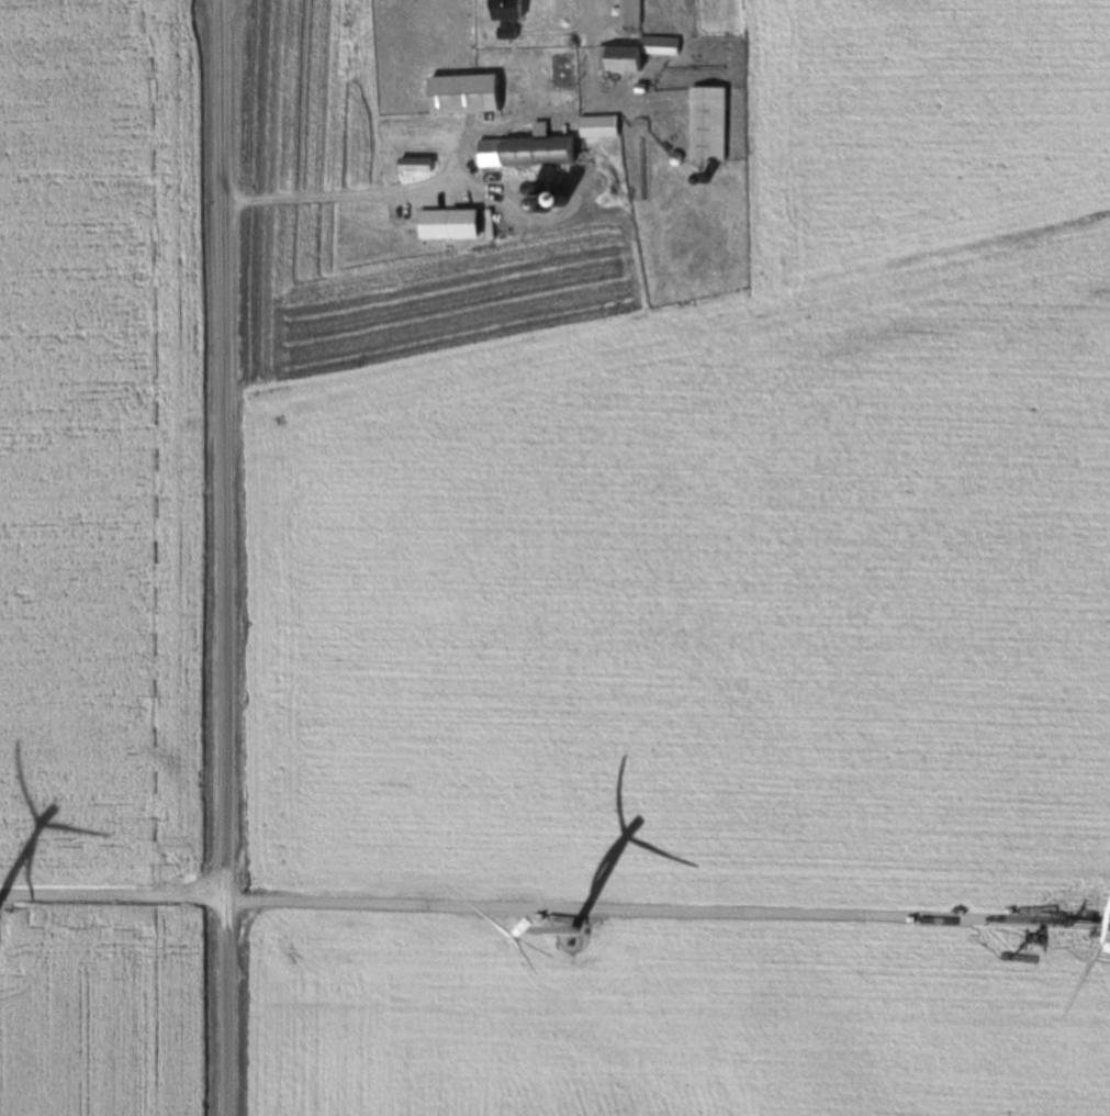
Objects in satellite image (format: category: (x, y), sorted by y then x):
building: (506, 10)
road: (593, 13)
building: (631, 14)
building: (637, 55)
building: (462, 96)
building: (708, 125)
building: (599, 127)
building: (527, 150)
road: (471, 156)
building: (415, 166)
road: (382, 196)
building: (543, 201)
building: (446, 225)
road: (227, 557)
road: (554, 916)
building: (1102, 917)
wind turbine: (583, 951)

